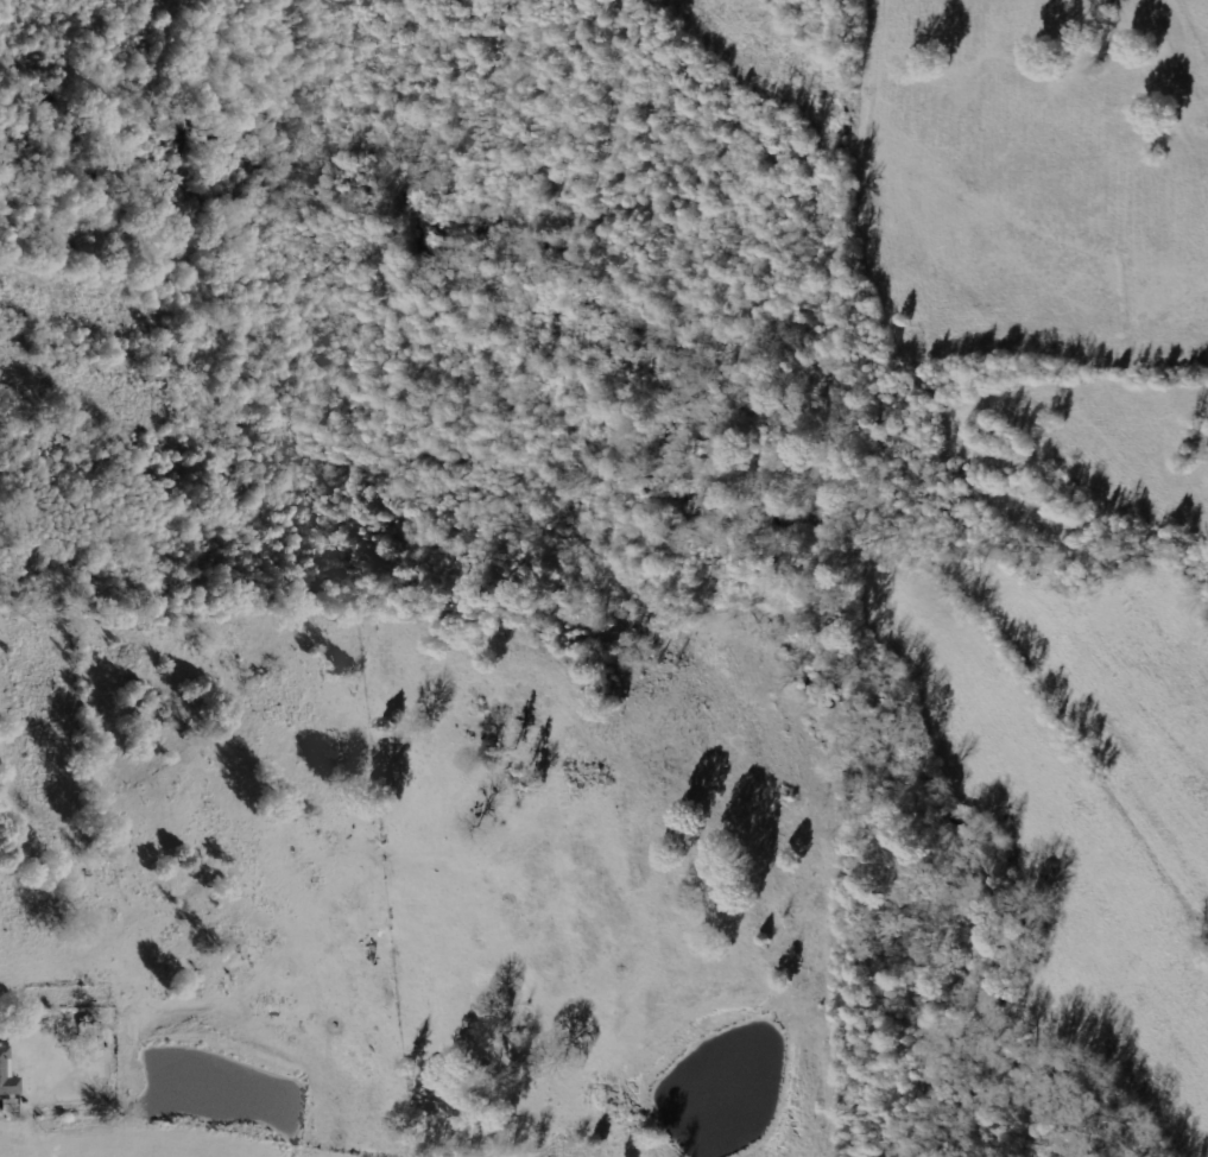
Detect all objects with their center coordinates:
building: (6, 1075)

